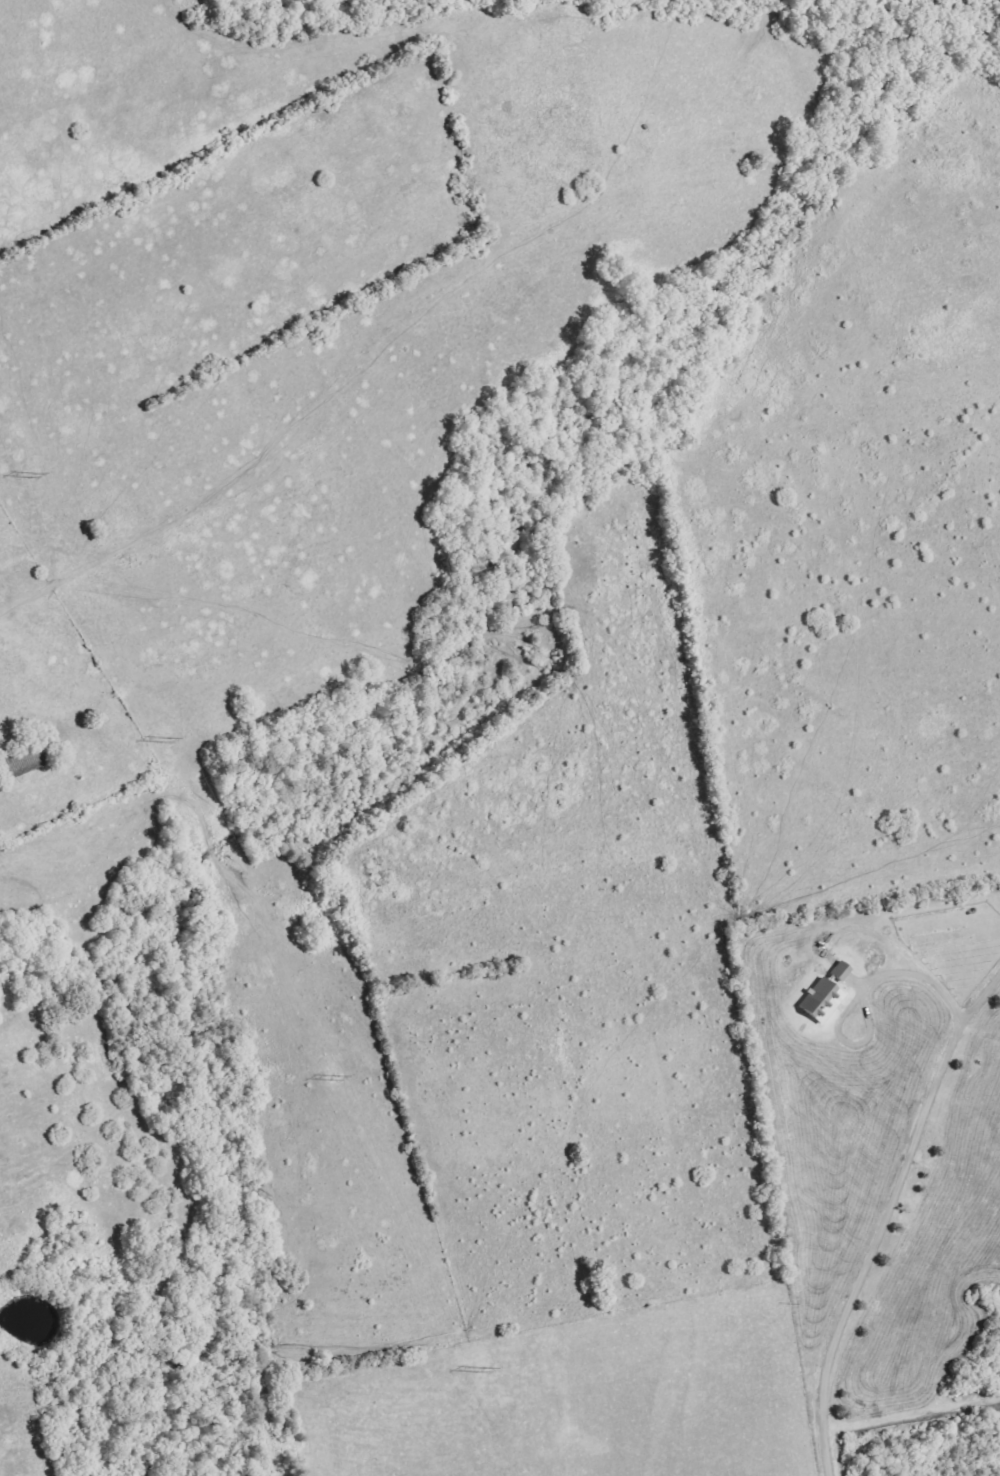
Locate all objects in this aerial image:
power tower: (31, 475)
power tower: (163, 739)
building: (828, 995)
power tower: (334, 1078)
road: (885, 1217)
park: (57, 1224)
power tower: (480, 1369)

